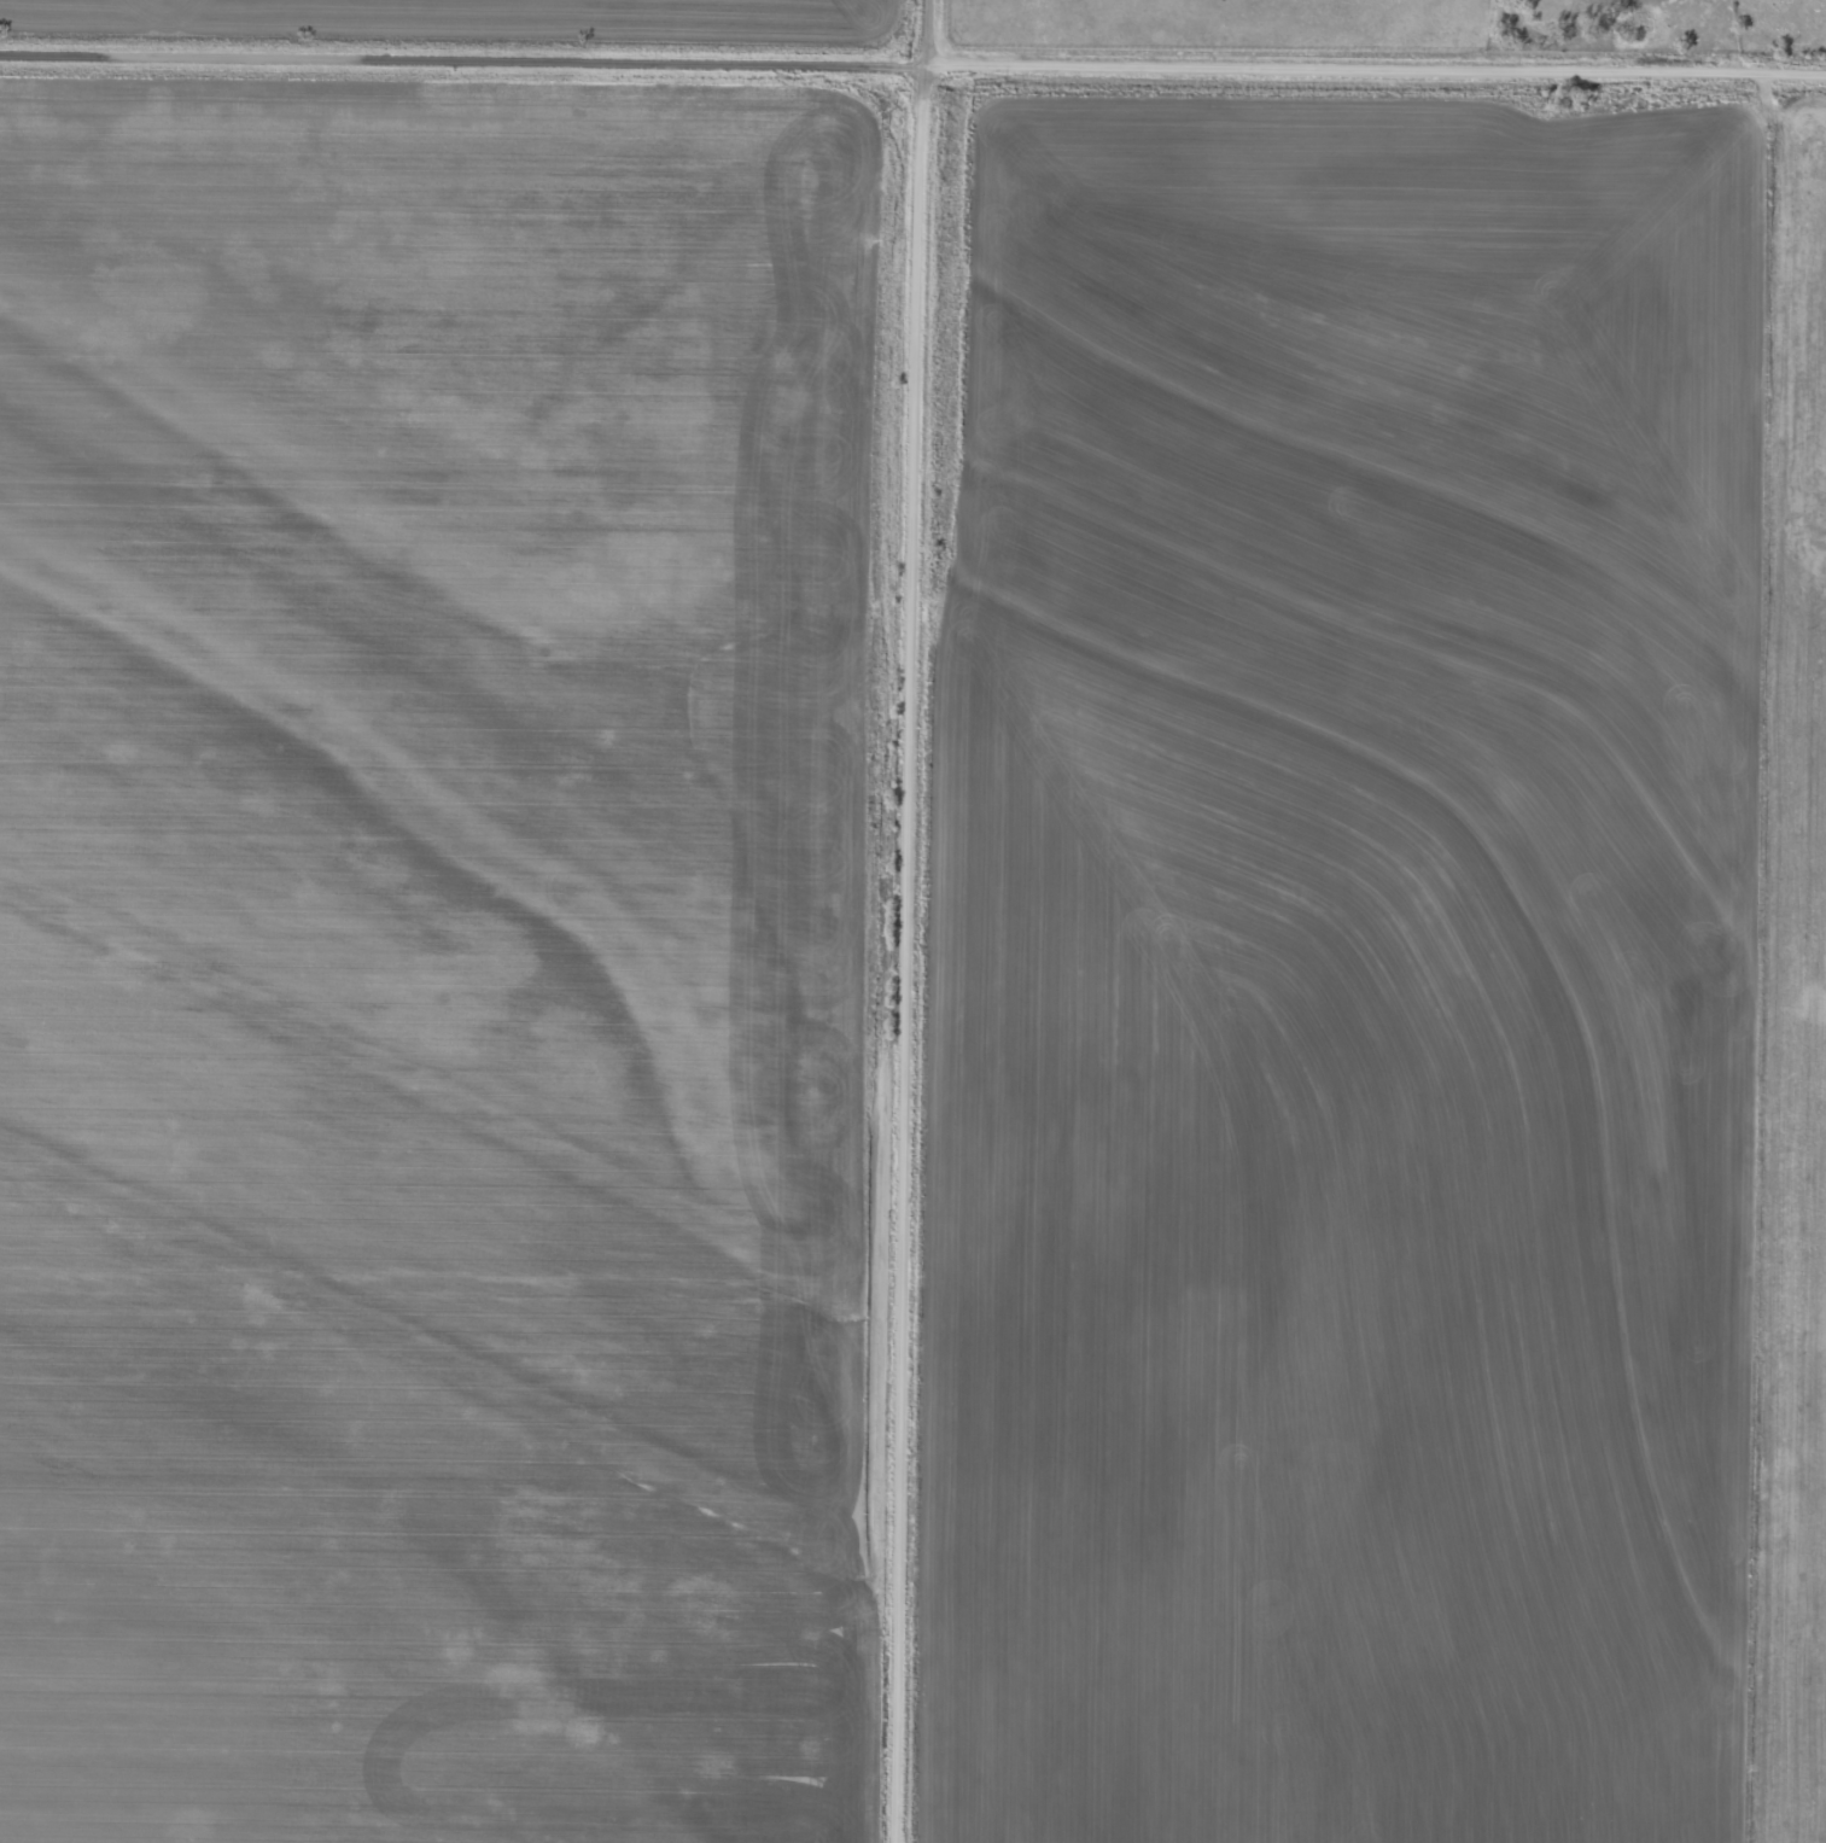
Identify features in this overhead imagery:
road: (912, 60)
road: (912, 921)

